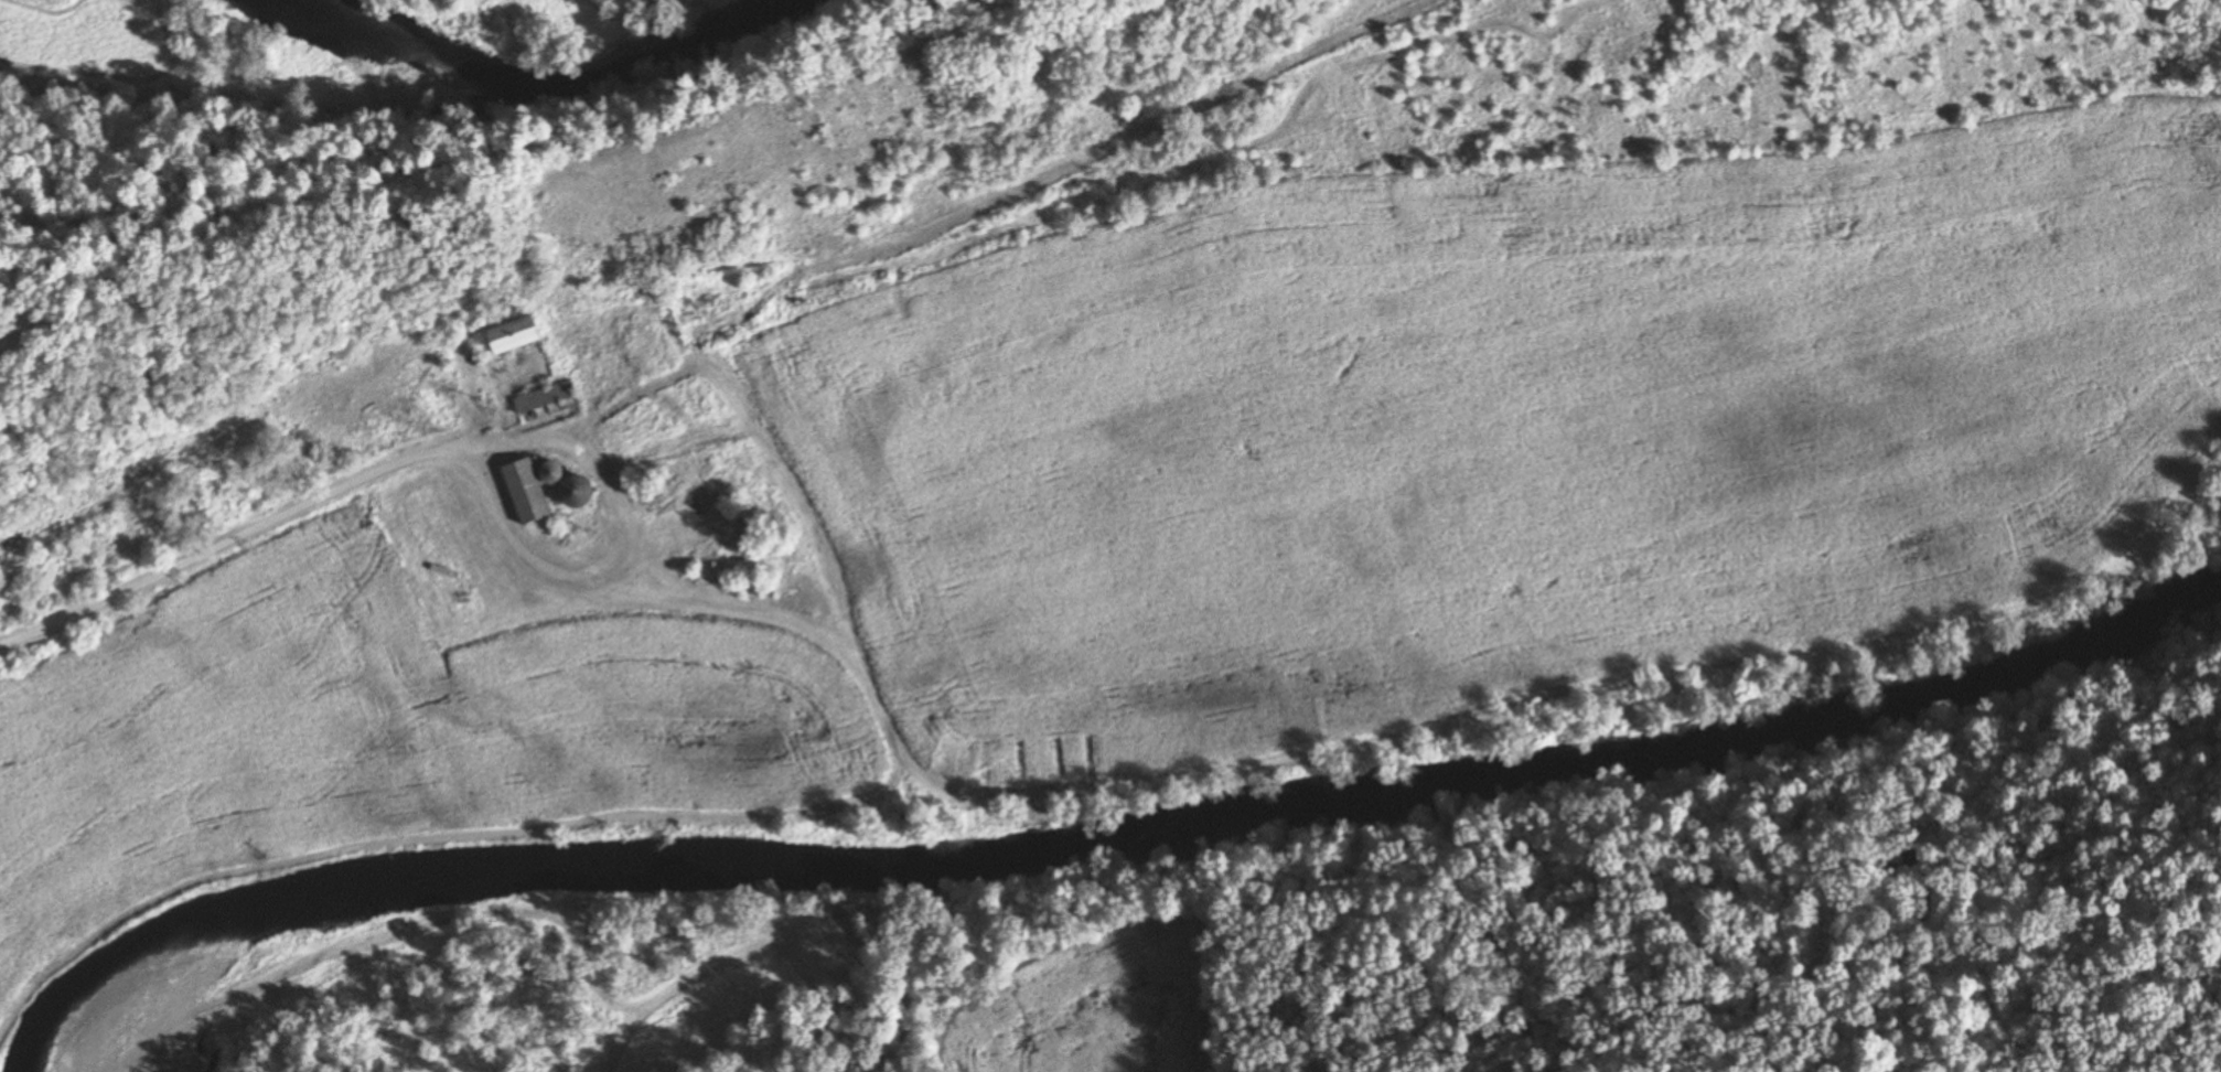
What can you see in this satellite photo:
river: (564, 104)
building: (528, 333)
building: (547, 396)
building: (532, 491)
road: (225, 544)
road: (614, 547)
river: (1165, 827)

